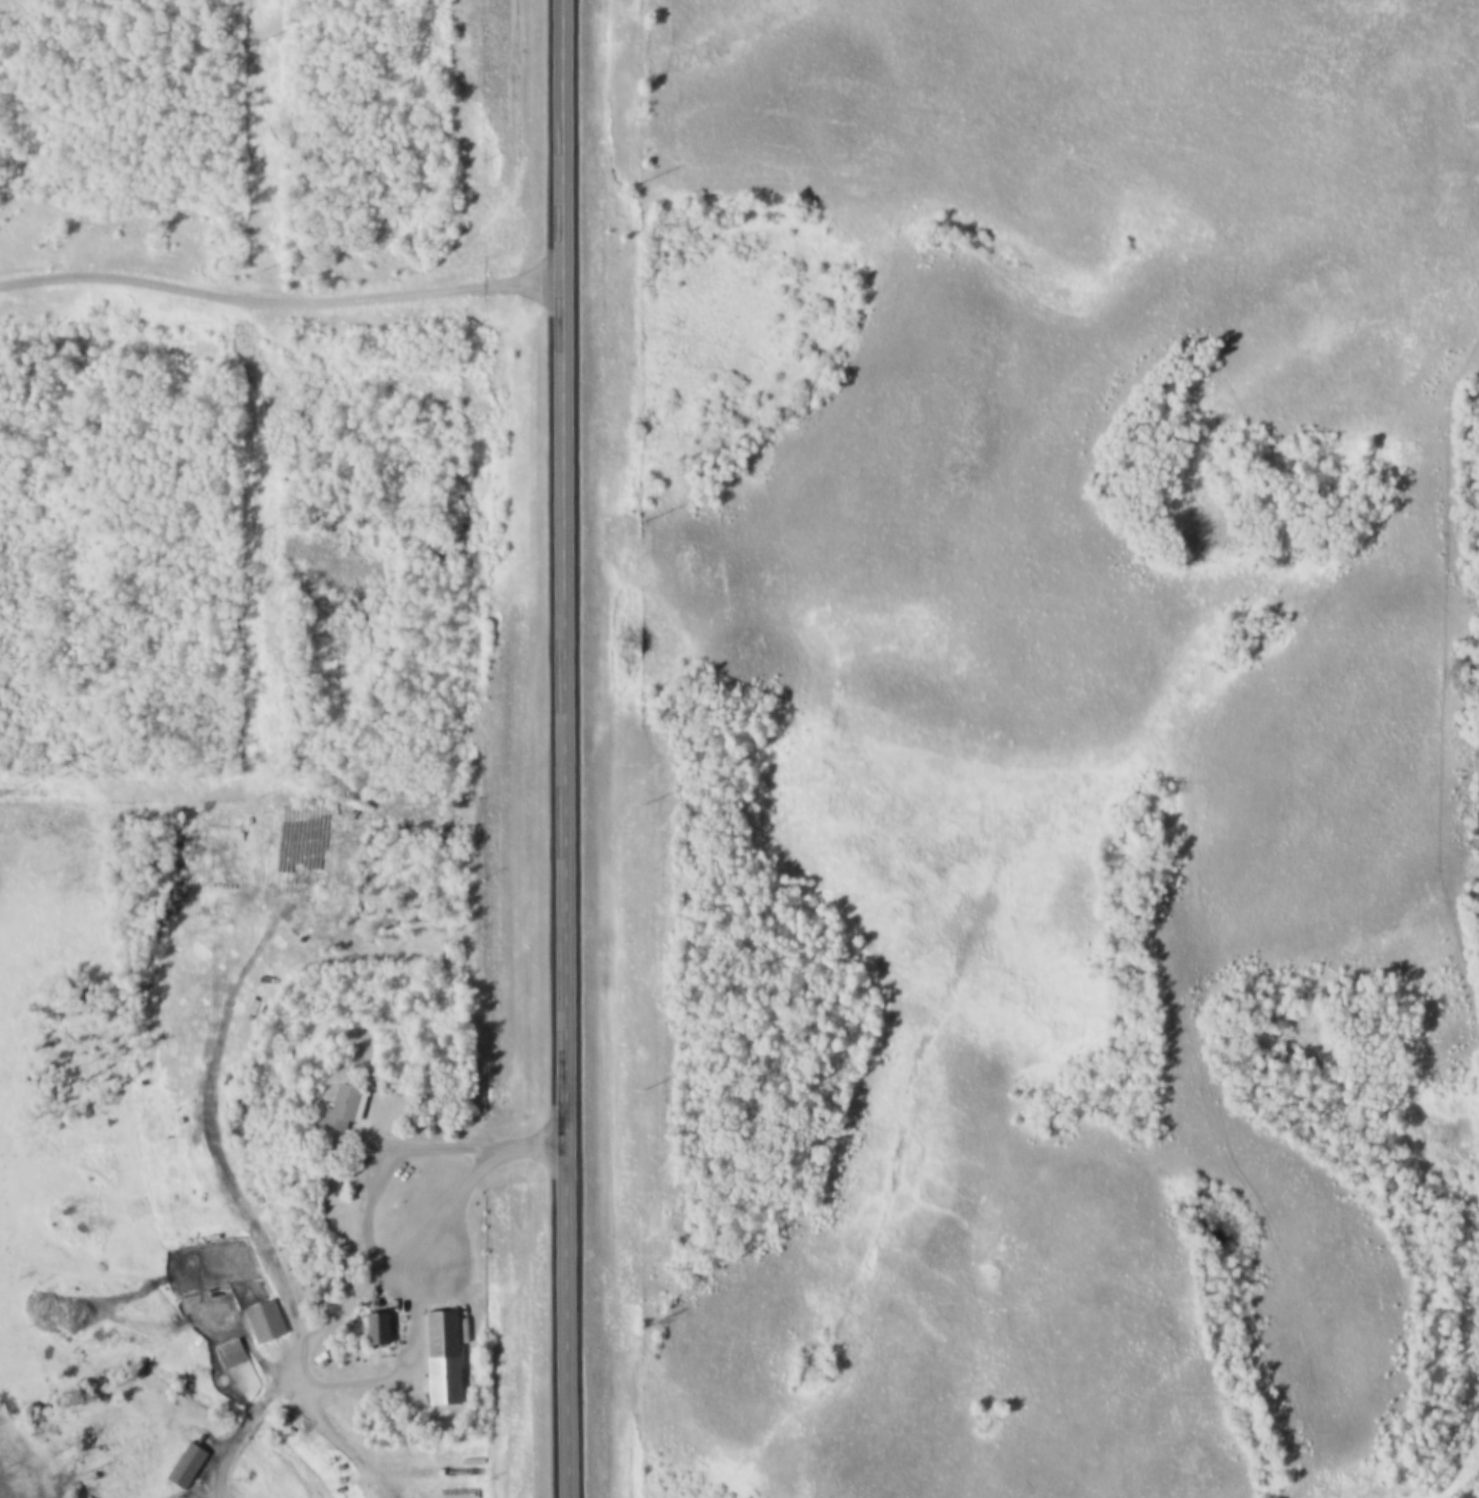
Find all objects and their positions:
road: (279, 303)
road: (563, 749)
road: (1215, 960)
building: (348, 1108)
road: (393, 1173)
road: (379, 1275)
building: (269, 1321)
building: (384, 1328)
building: (444, 1334)
building: (238, 1358)
building: (190, 1466)

